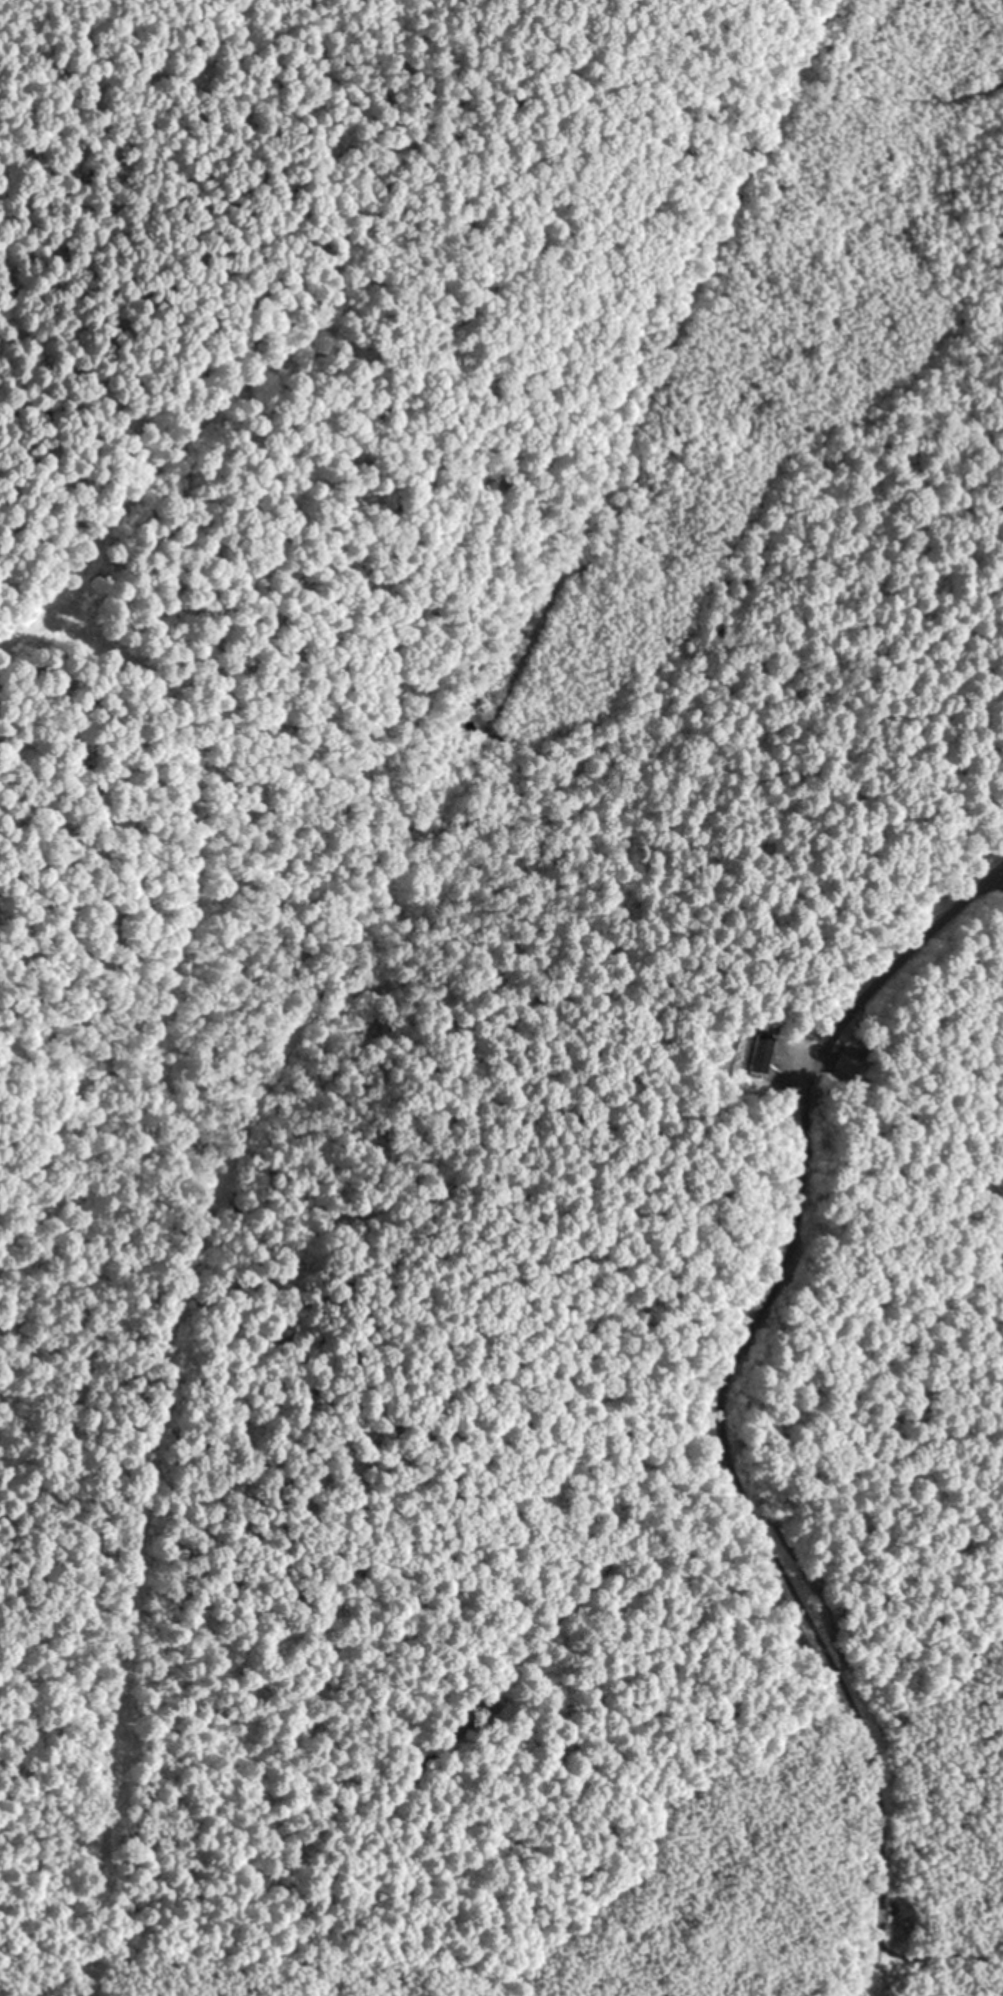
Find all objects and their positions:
road: (183, 448)
road: (189, 838)
road: (338, 960)
road: (885, 963)
building: (761, 1051)
road: (764, 1546)

